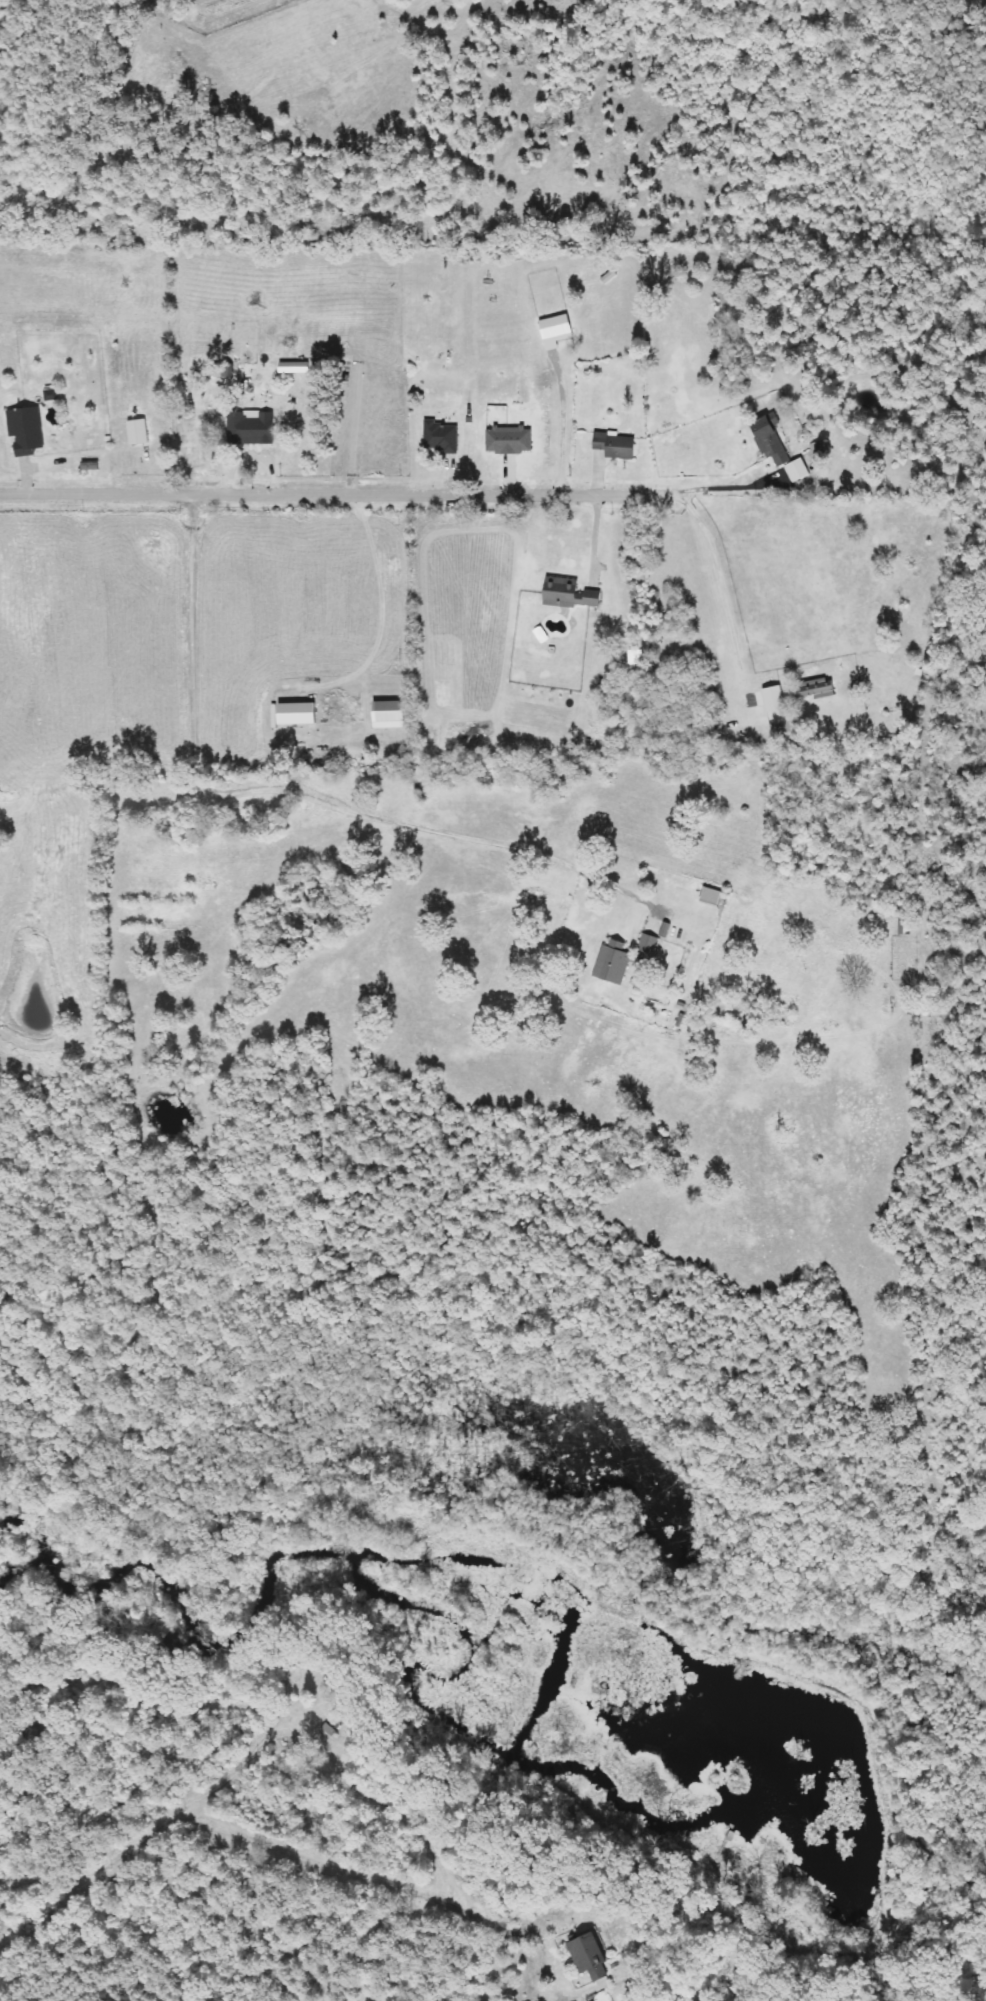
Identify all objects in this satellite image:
building: (556, 331)
building: (250, 429)
building: (25, 431)
building: (138, 432)
building: (440, 436)
building: (509, 440)
building: (771, 441)
building: (614, 445)
building: (797, 470)
road: (728, 489)
road: (337, 494)
road: (723, 583)
building: (567, 595)
building: (814, 687)
building: (773, 699)
building: (296, 713)
building: (388, 714)
road: (299, 794)
building: (711, 896)
building: (648, 944)
building: (612, 962)
building: (589, 1957)

